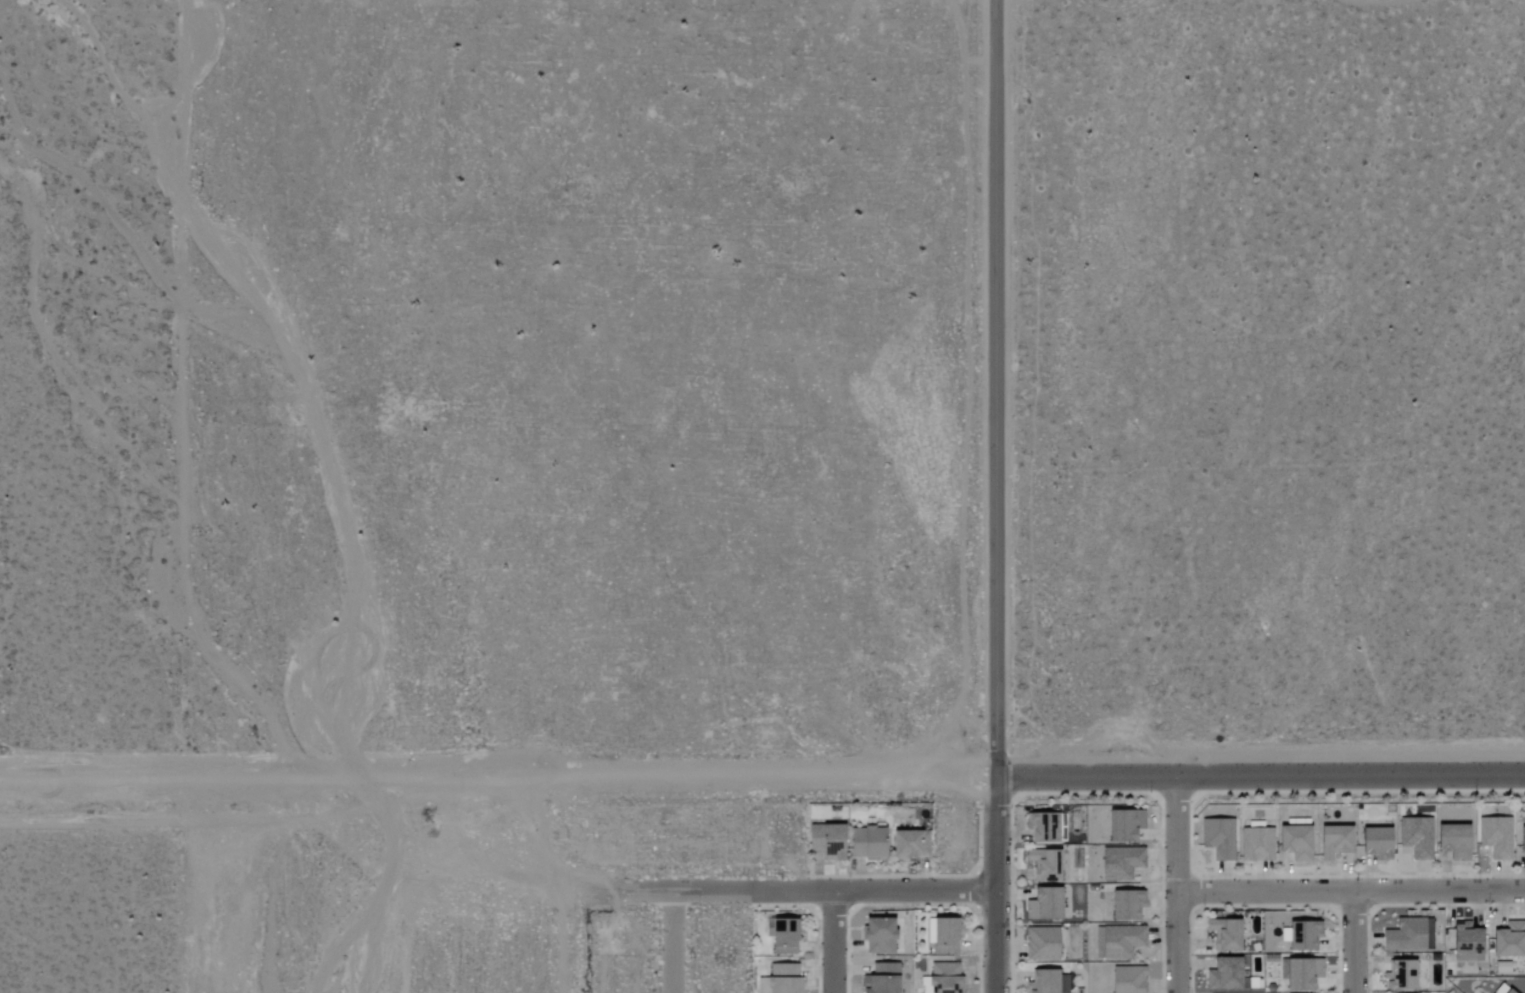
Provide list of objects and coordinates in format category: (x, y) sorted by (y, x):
road: (177, 399)
road: (999, 496)
road: (498, 764)
road: (1260, 774)
building: (1123, 824)
building: (1417, 837)
building: (1495, 837)
building: (1219, 838)
building: (824, 840)
building: (1452, 840)
building: (1521, 840)
building: (1333, 841)
building: (1294, 842)
building: (1374, 842)
building: (866, 843)
building: (909, 844)
building: (1256, 844)
building: (1121, 862)
building: (1044, 864)
road: (1177, 883)
road: (814, 892)
road: (1351, 892)
building: (1043, 904)
building: (1125, 904)
building: (1224, 934)
building: (1303, 935)
building: (1409, 935)
building: (782, 936)
building: (878, 936)
building: (944, 936)
building: (1465, 939)
building: (1509, 940)
building: (1120, 941)
road: (672, 942)
road: (1355, 942)
road: (836, 943)
building: (1041, 944)
building: (1300, 973)
building: (1224, 974)
building: (1400, 975)
building: (943, 978)
building: (780, 979)
building: (880, 979)
building: (1128, 980)
building: (1047, 981)
building: (1507, 991)

